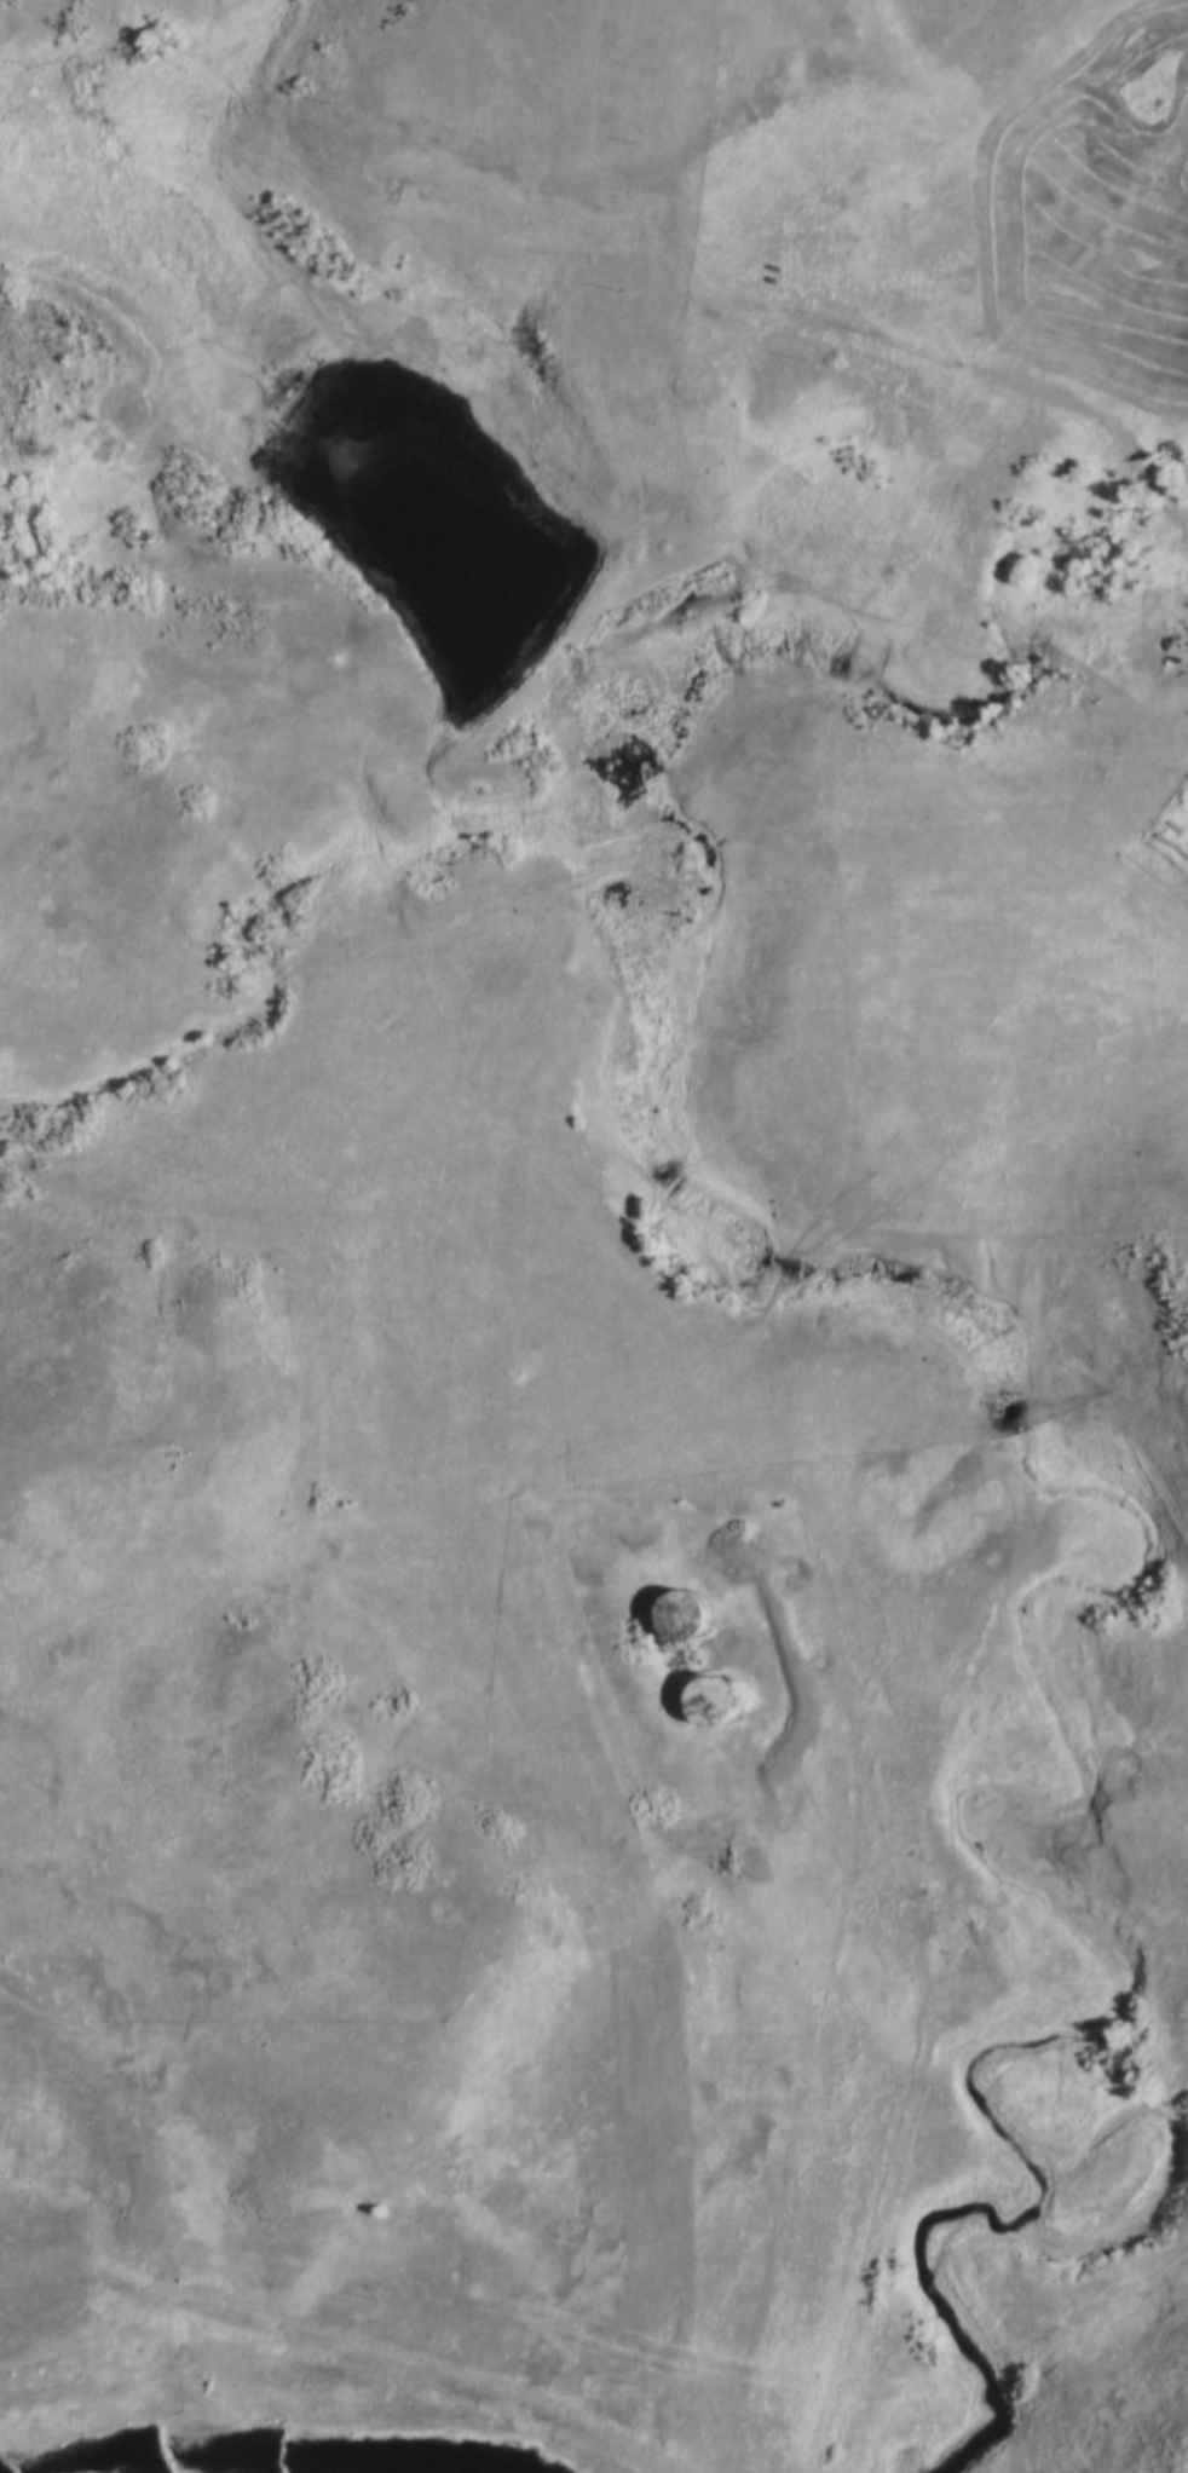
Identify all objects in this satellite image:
building: (676, 1618)
building: (707, 1704)

